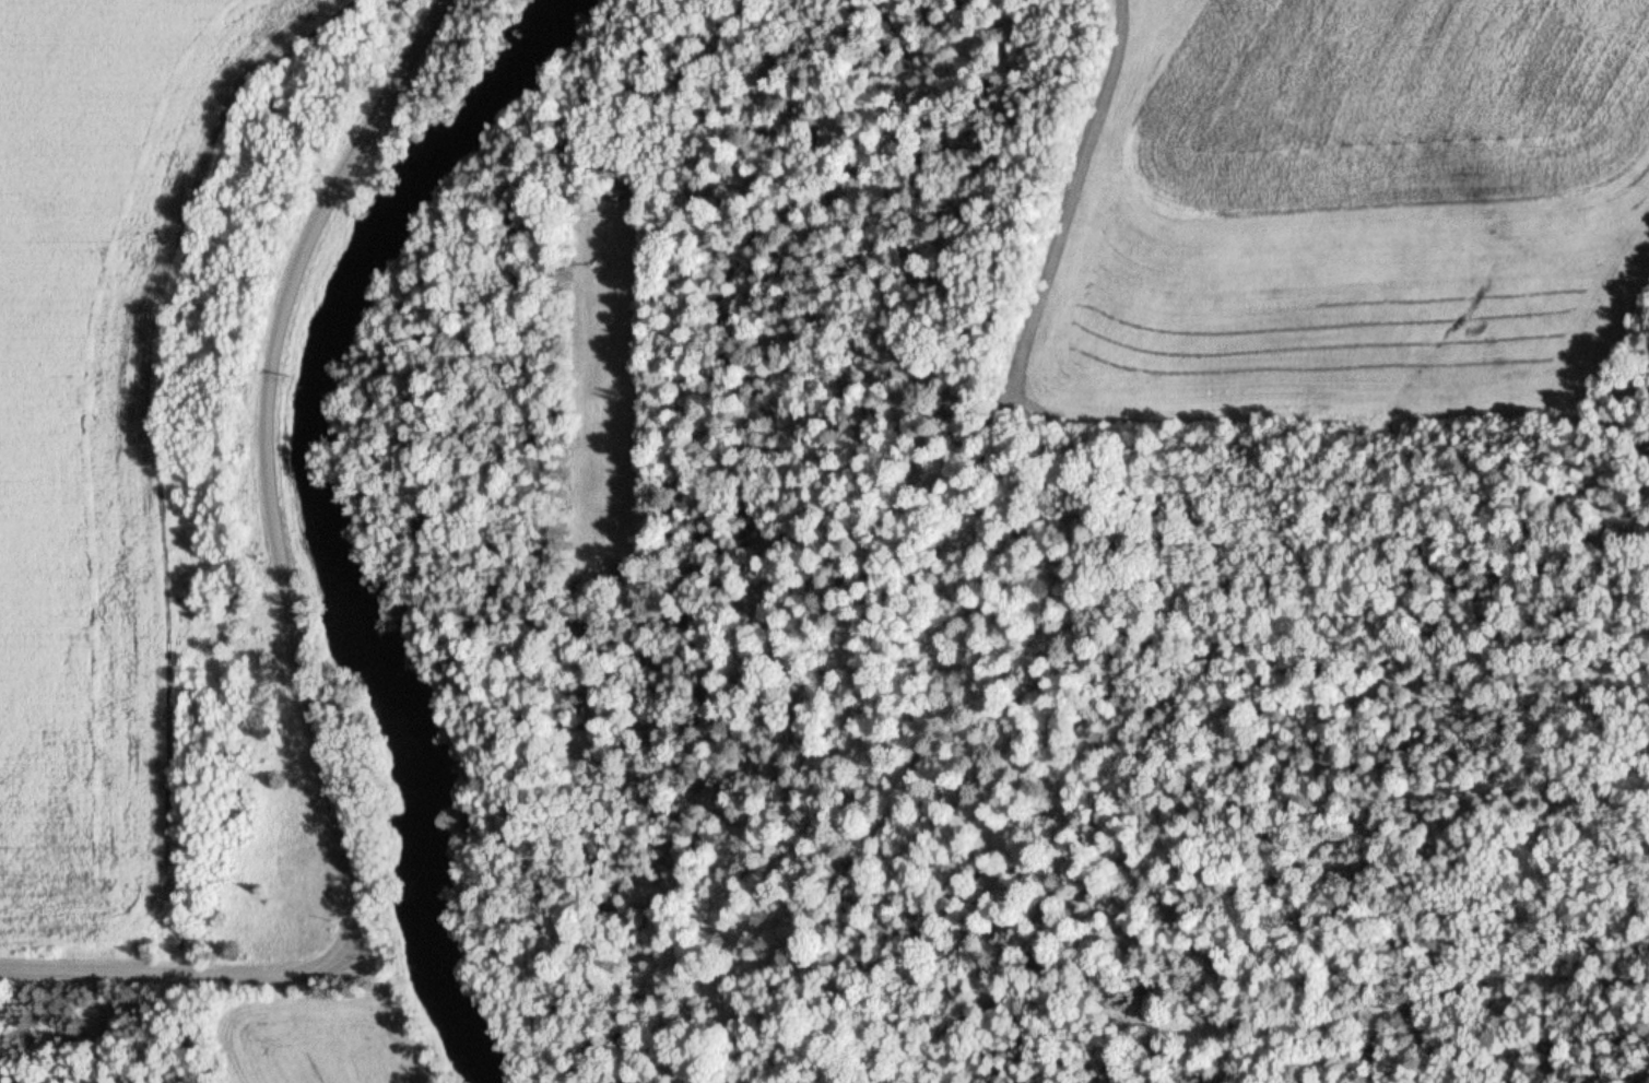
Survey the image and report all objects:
road: (1074, 211)
river: (343, 522)
road: (293, 631)

